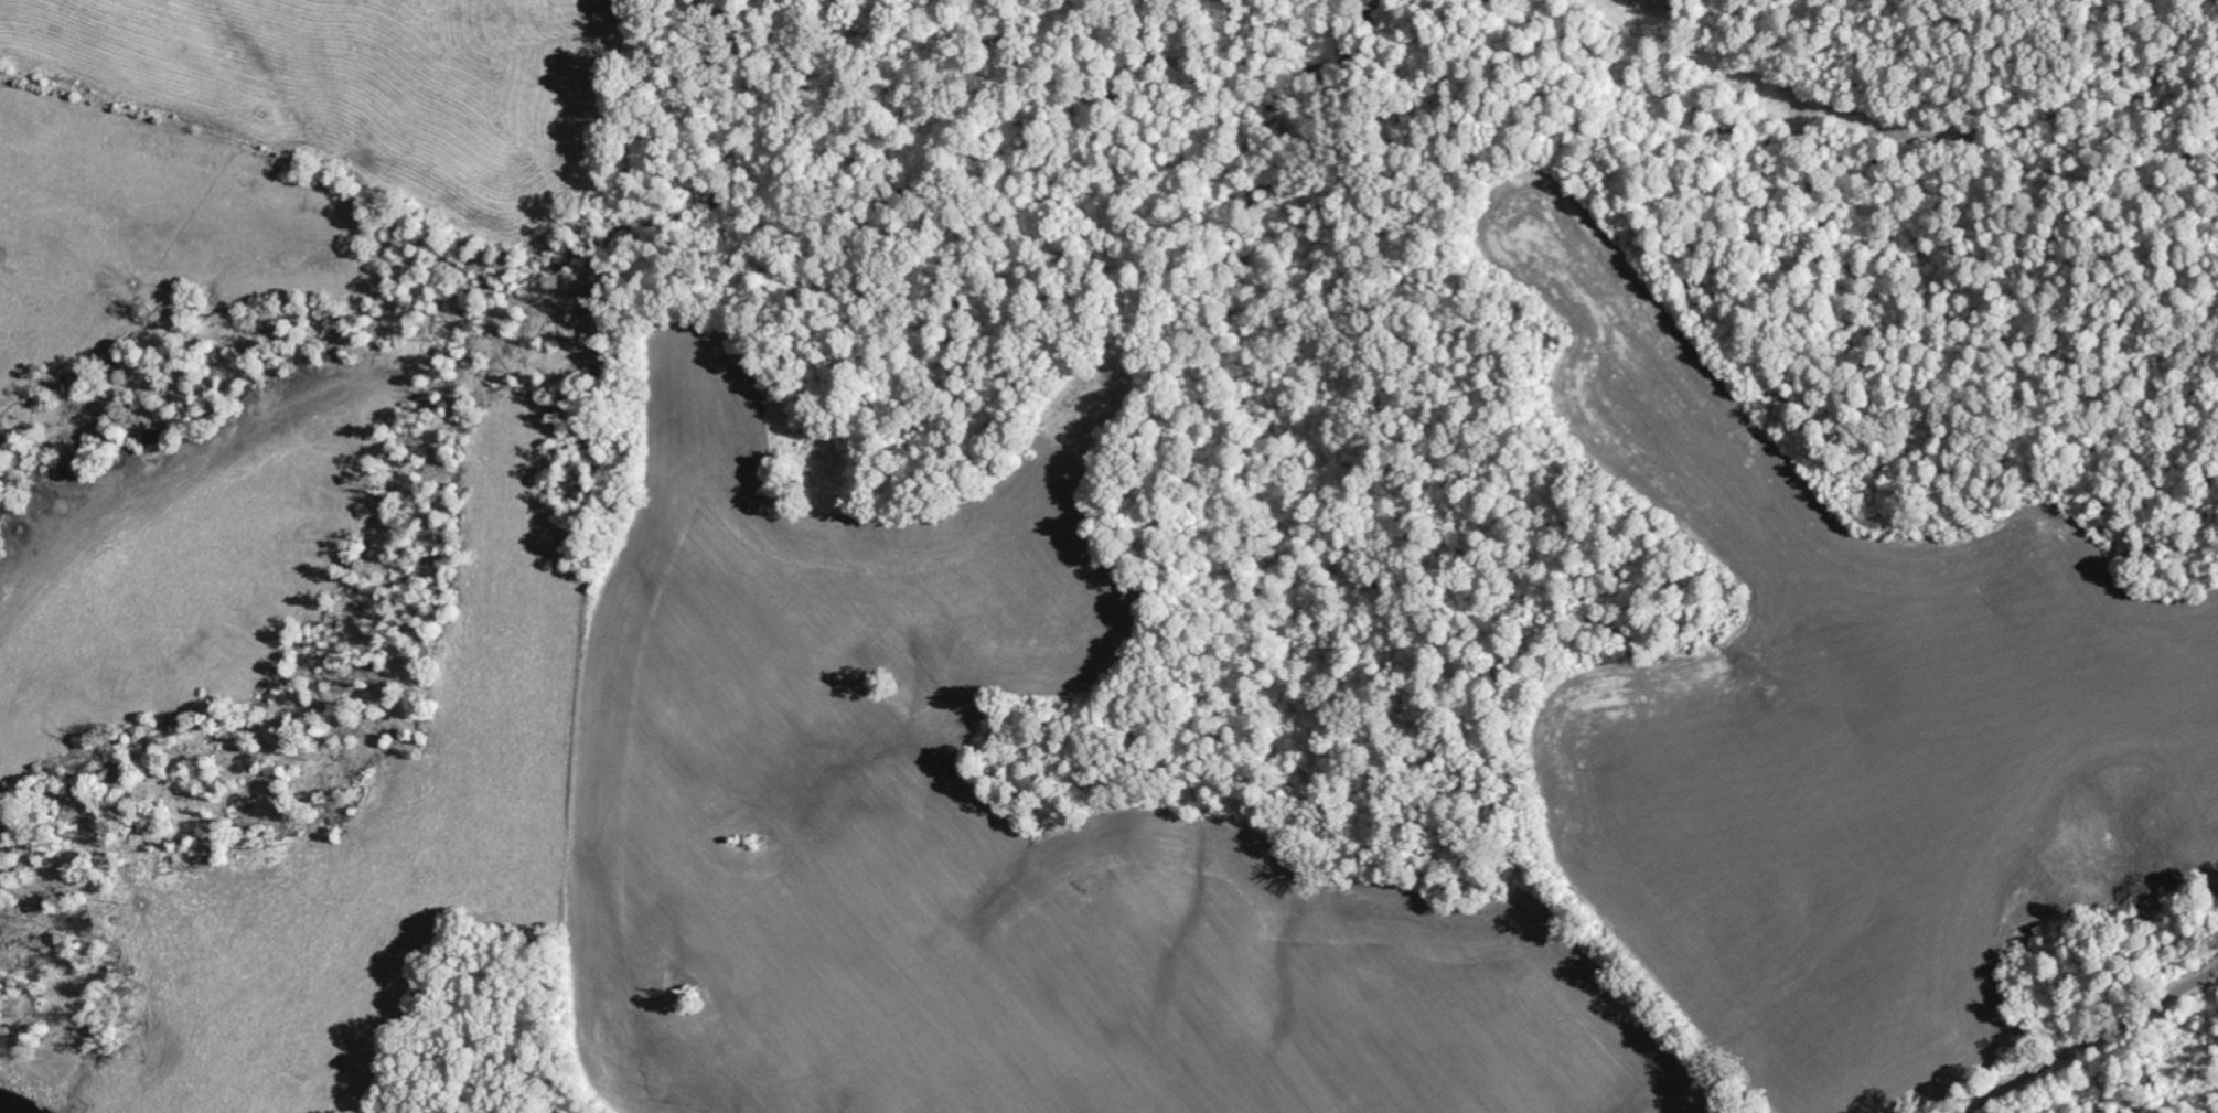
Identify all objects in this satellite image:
road: (2090, 1042)

